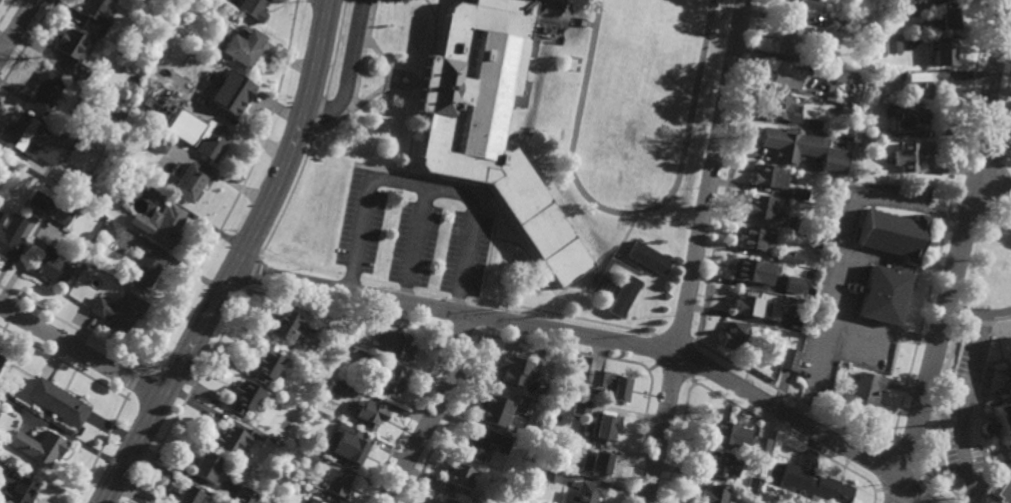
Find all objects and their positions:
building: (894, 0)
building: (829, 5)
road: (560, 6)
building: (798, 7)
building: (253, 9)
road: (6, 10)
building: (896, 12)
building: (97, 15)
building: (941, 20)
building: (831, 23)
road: (17, 28)
road: (431, 38)
road: (12, 39)
building: (787, 41)
road: (27, 44)
building: (891, 46)
building: (242, 48)
road: (334, 50)
road: (384, 50)
building: (74, 53)
building: (941, 53)
road: (0, 54)
building: (816, 58)
building: (427, 65)
road: (393, 71)
road: (349, 73)
road: (361, 74)
building: (784, 77)
road: (3, 78)
building: (137, 80)
building: (923, 82)
park: (639, 85)
road: (376, 86)
road: (990, 86)
building: (47, 93)
building: (817, 93)
building: (228, 94)
building: (184, 105)
building: (780, 109)
building: (847, 111)
road: (319, 112)
building: (493, 112)
road: (1003, 112)
track: (577, 116)
building: (911, 120)
road: (418, 122)
building: (25, 135)
building: (879, 136)
building: (212, 142)
building: (159, 145)
building: (58, 146)
building: (801, 150)
road: (1004, 155)
building: (910, 157)
road: (728, 170)
building: (768, 178)
building: (188, 183)
road: (994, 183)
road: (992, 185)
building: (135, 186)
road: (418, 186)
road: (489, 188)
road: (288, 194)
building: (797, 194)
road: (236, 195)
building: (41, 202)
road: (967, 206)
building: (762, 208)
building: (62, 215)
building: (2, 217)
building: (163, 224)
building: (798, 224)
building: (110, 226)
road: (944, 226)
parking lot: (415, 232)
building: (890, 232)
building: (757, 236)
building: (9, 245)
road: (415, 245)
road: (698, 251)
road: (839, 251)
building: (783, 255)
building: (647, 259)
road: (237, 260)
building: (49, 264)
building: (142, 266)
building: (753, 268)
road: (548, 269)
road: (251, 273)
road: (373, 275)
building: (792, 283)
building: (882, 290)
building: (622, 296)
building: (750, 301)
building: (791, 306)
building: (117, 309)
road: (569, 309)
road: (350, 310)
road: (977, 311)
building: (284, 323)
road: (70, 326)
road: (882, 327)
road: (463, 329)
road: (479, 330)
road: (673, 332)
road: (604, 334)
building: (739, 334)
road: (936, 338)
building: (1010, 338)
road: (658, 340)
building: (396, 342)
building: (339, 345)
road: (577, 345)
road: (79, 351)
building: (1010, 354)
road: (947, 355)
building: (1, 358)
building: (788, 358)
building: (513, 360)
building: (264, 362)
road: (62, 363)
road: (696, 371)
building: (390, 378)
building: (608, 381)
road: (133, 383)
building: (336, 386)
building: (862, 392)
road: (190, 393)
building: (243, 396)
road: (789, 397)
building: (58, 400)
building: (523, 404)
building: (580, 405)
road: (966, 407)
building: (494, 409)
road: (433, 410)
building: (370, 413)
road: (411, 417)
road: (448, 418)
building: (1000, 422)
building: (604, 425)
road: (638, 433)
road: (794, 434)
building: (737, 435)
road: (682, 436)
building: (232, 438)
building: (547, 439)
building: (484, 443)
building: (346, 444)
building: (39, 445)
road: (101, 447)
building: (310, 455)
road: (901, 460)
building: (596, 462)
building: (719, 463)
building: (205, 465)
road: (919, 469)
building: (550, 472)
building: (457, 477)
building: (336, 481)
building: (814, 482)
building: (755, 484)
building: (16, 486)
building: (1004, 486)
road: (917, 487)
building: (305, 488)
road: (878, 489)
building: (584, 492)
building: (713, 493)
building: (188, 494)
building: (243, 495)
road: (892, 495)
building: (441, 500)
building: (315, 502)
building: (318, 502)
building: (322, 502)

